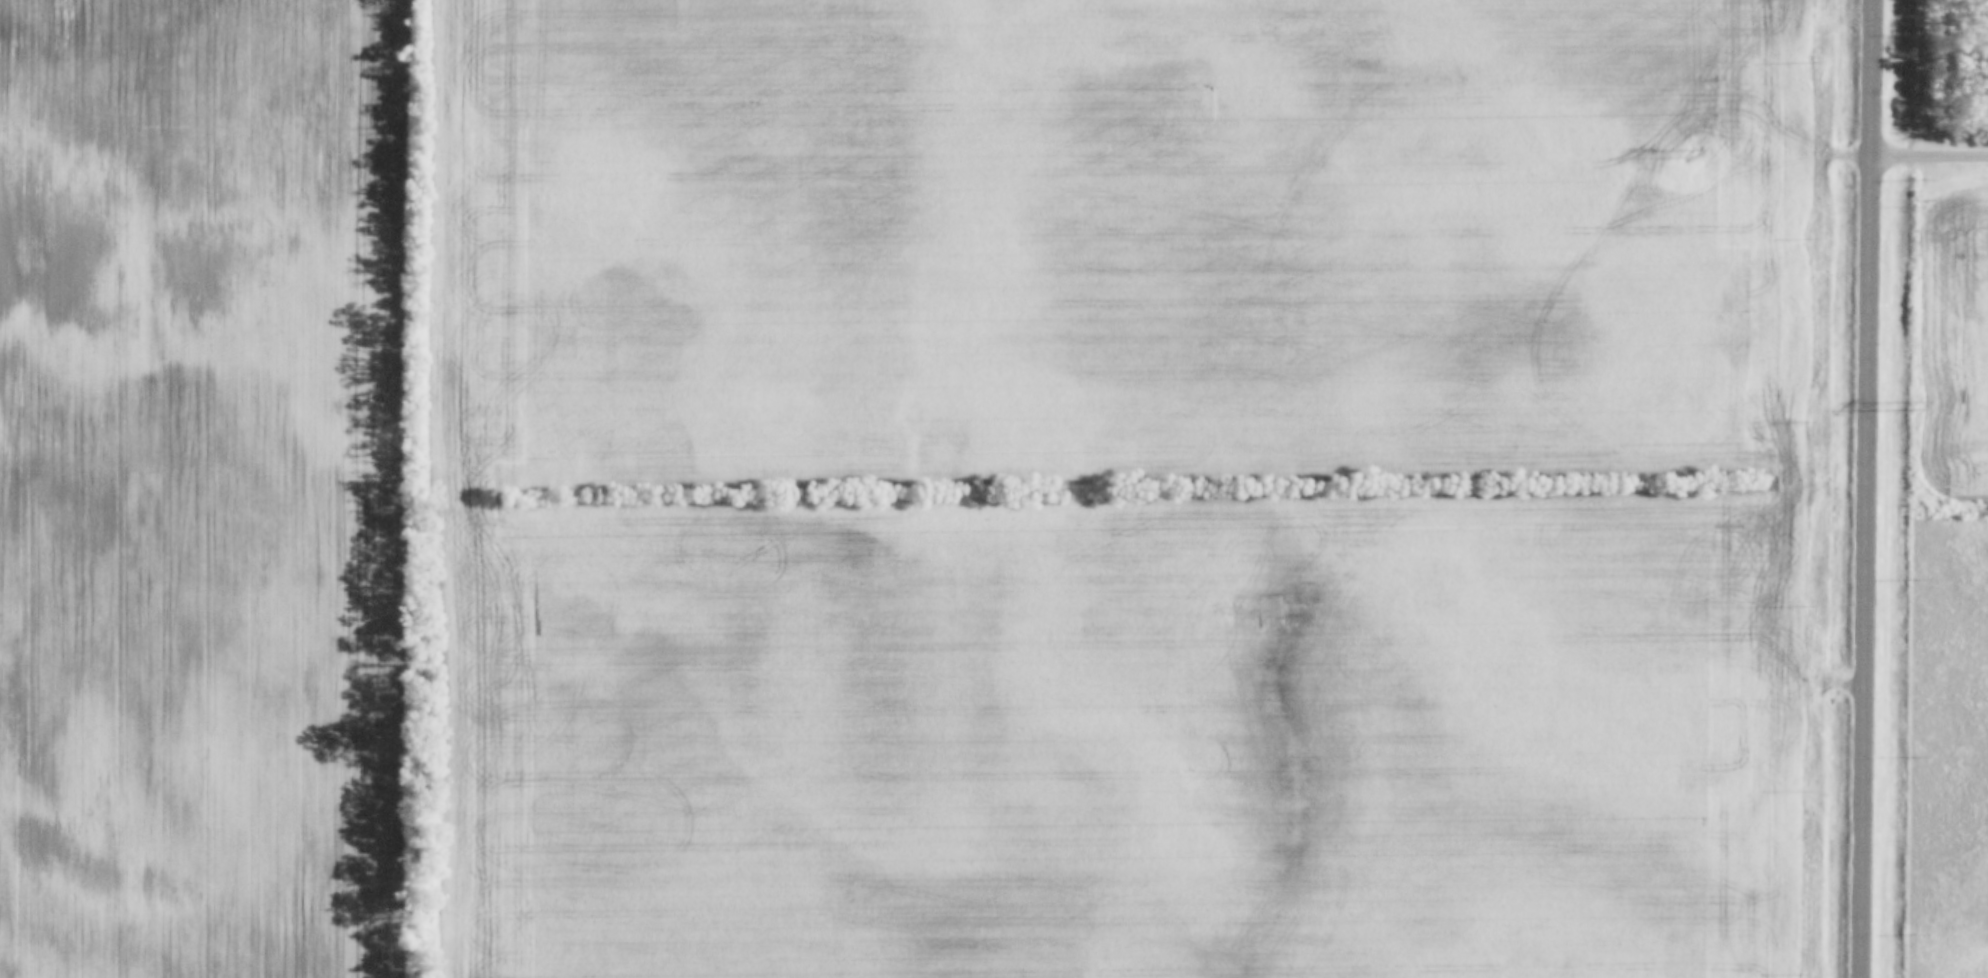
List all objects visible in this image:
power tower: (1690, 153)
road: (1931, 155)
road: (1870, 488)

